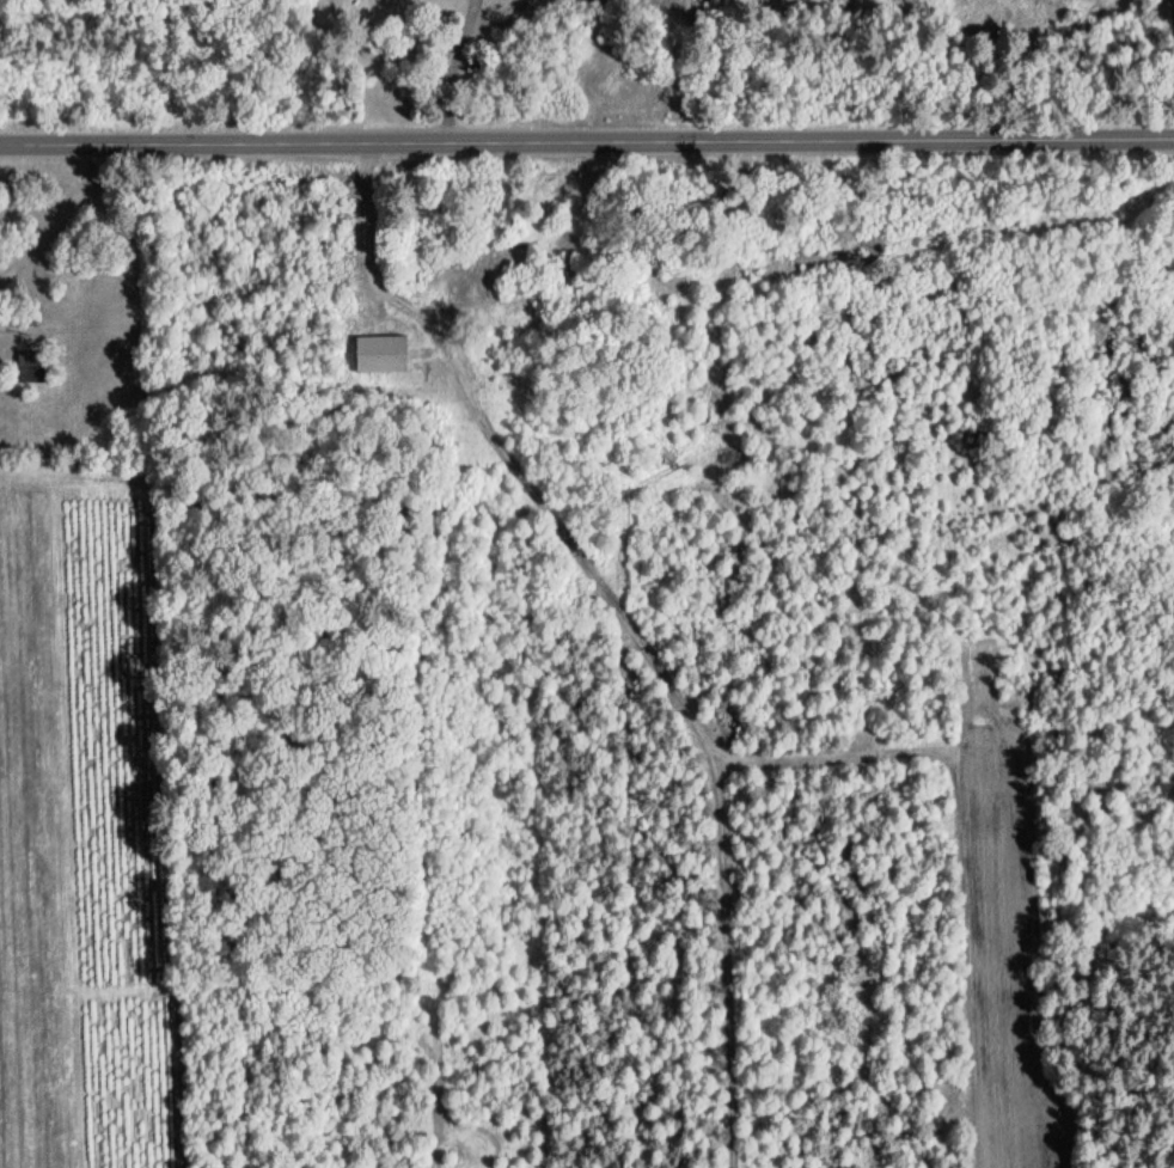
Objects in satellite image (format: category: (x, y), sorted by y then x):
road: (450, 72)
road: (587, 143)
road: (367, 222)
building: (380, 354)

